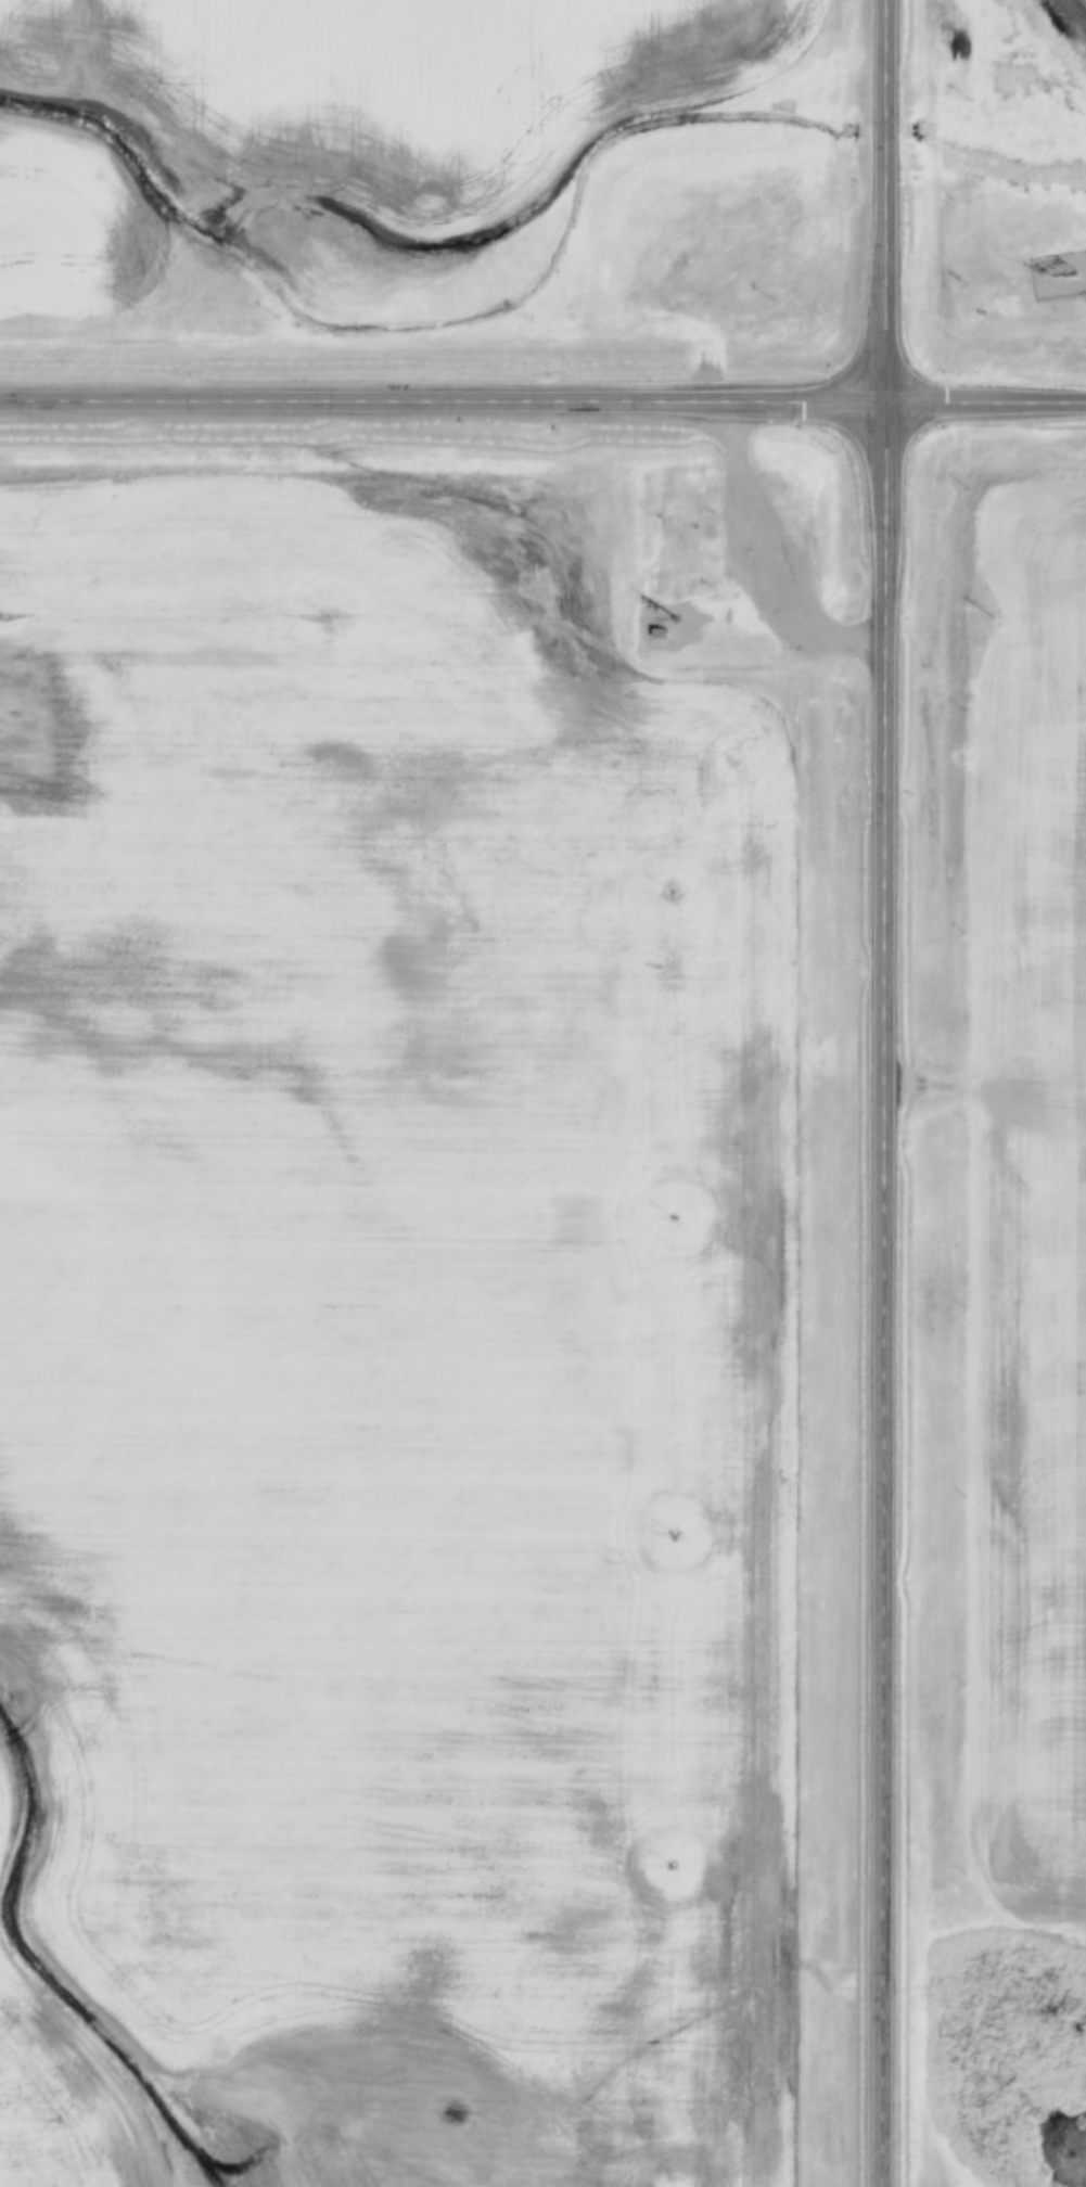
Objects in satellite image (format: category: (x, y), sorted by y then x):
power substation: (1060, 279)
road: (542, 398)
road: (774, 551)
road: (887, 1092)

